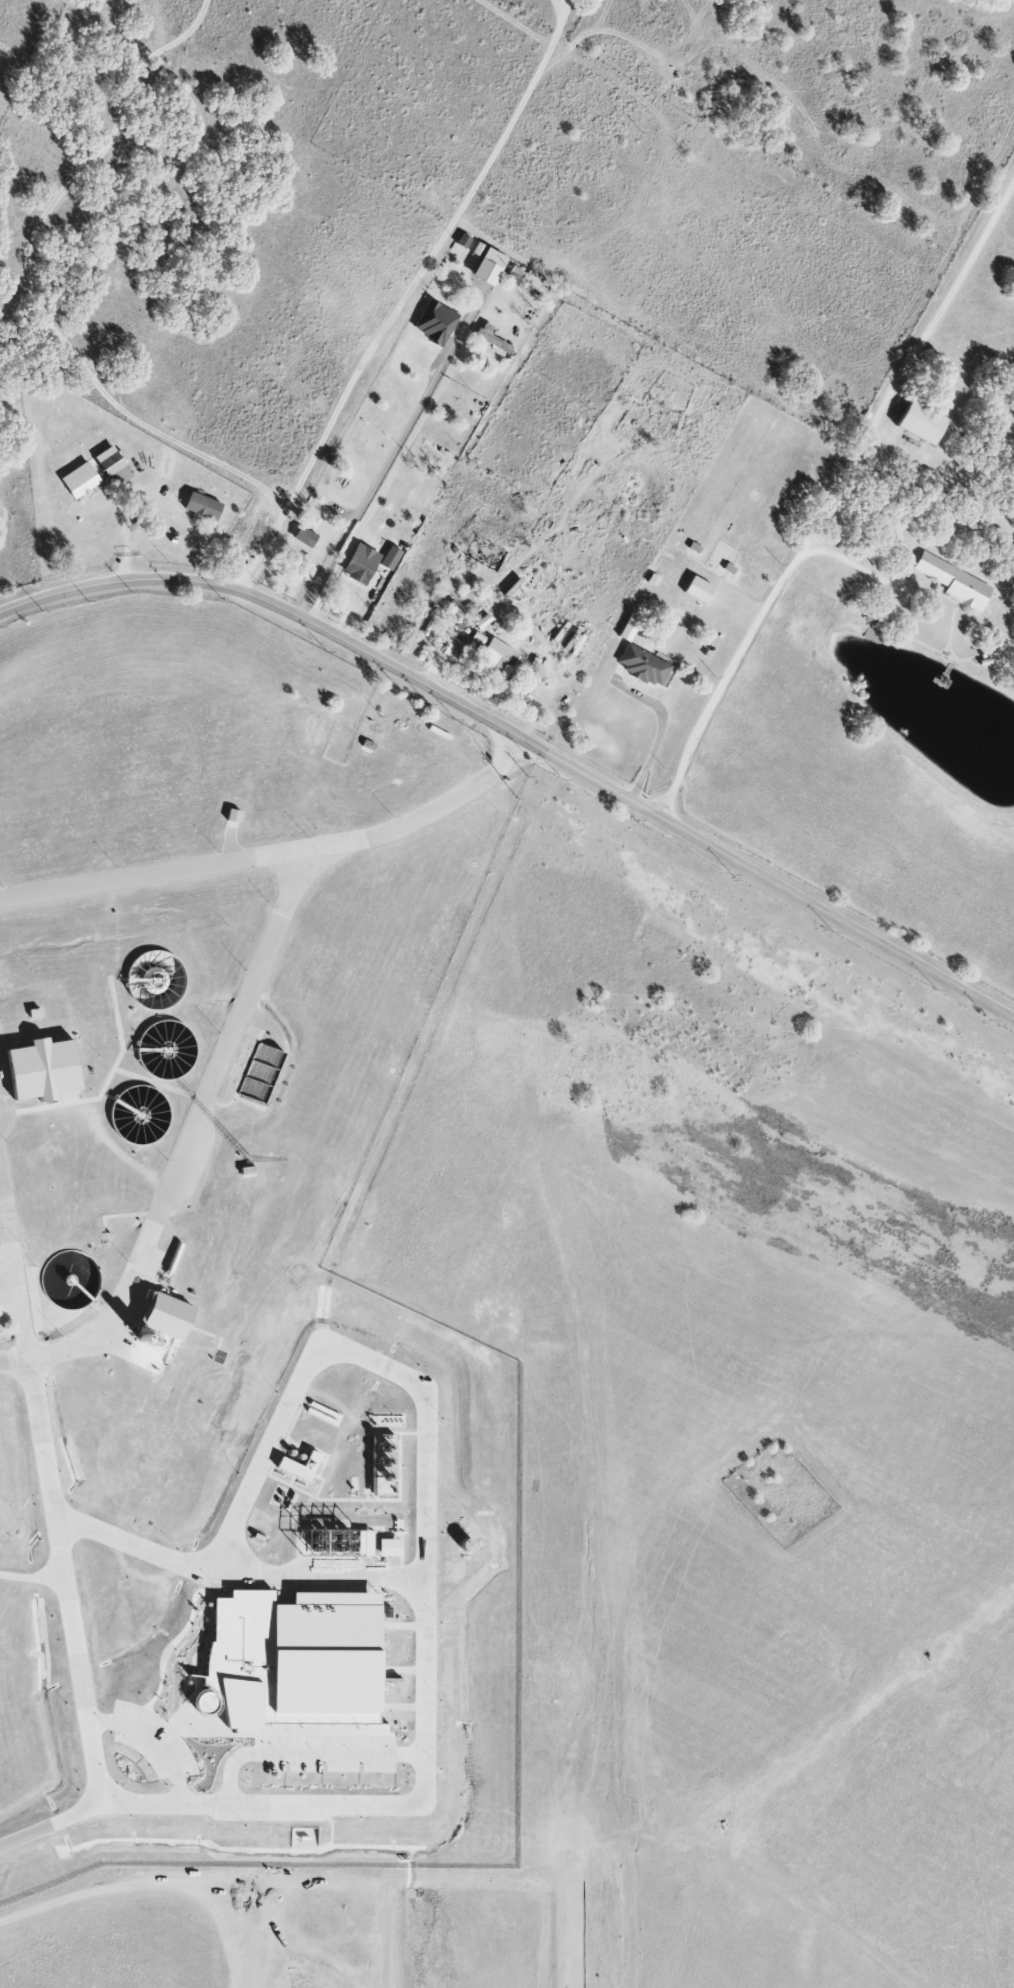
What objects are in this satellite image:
road: (557, 12)
road: (39, 74)
road: (719, 134)
road: (407, 296)
building: (437, 323)
building: (491, 337)
building: (919, 423)
road: (389, 465)
building: (112, 466)
building: (80, 480)
road: (430, 498)
road: (833, 498)
building: (202, 506)
road: (145, 534)
building: (304, 537)
road: (121, 540)
building: (390, 558)
building: (360, 563)
road: (855, 566)
building: (954, 581)
building: (697, 589)
building: (483, 621)
building: (478, 637)
building: (498, 655)
building: (642, 665)
road: (659, 735)
road: (521, 740)
building: (232, 815)
road: (279, 855)
building: (40, 1069)
building: (261, 1071)
road: (184, 1152)
road: (5, 1199)
building: (164, 1314)
building: (381, 1455)
building: (299, 1466)
building: (363, 1542)
building: (388, 1547)
road: (323, 1574)
building: (288, 1660)
road: (422, 1781)
road: (50, 1821)

